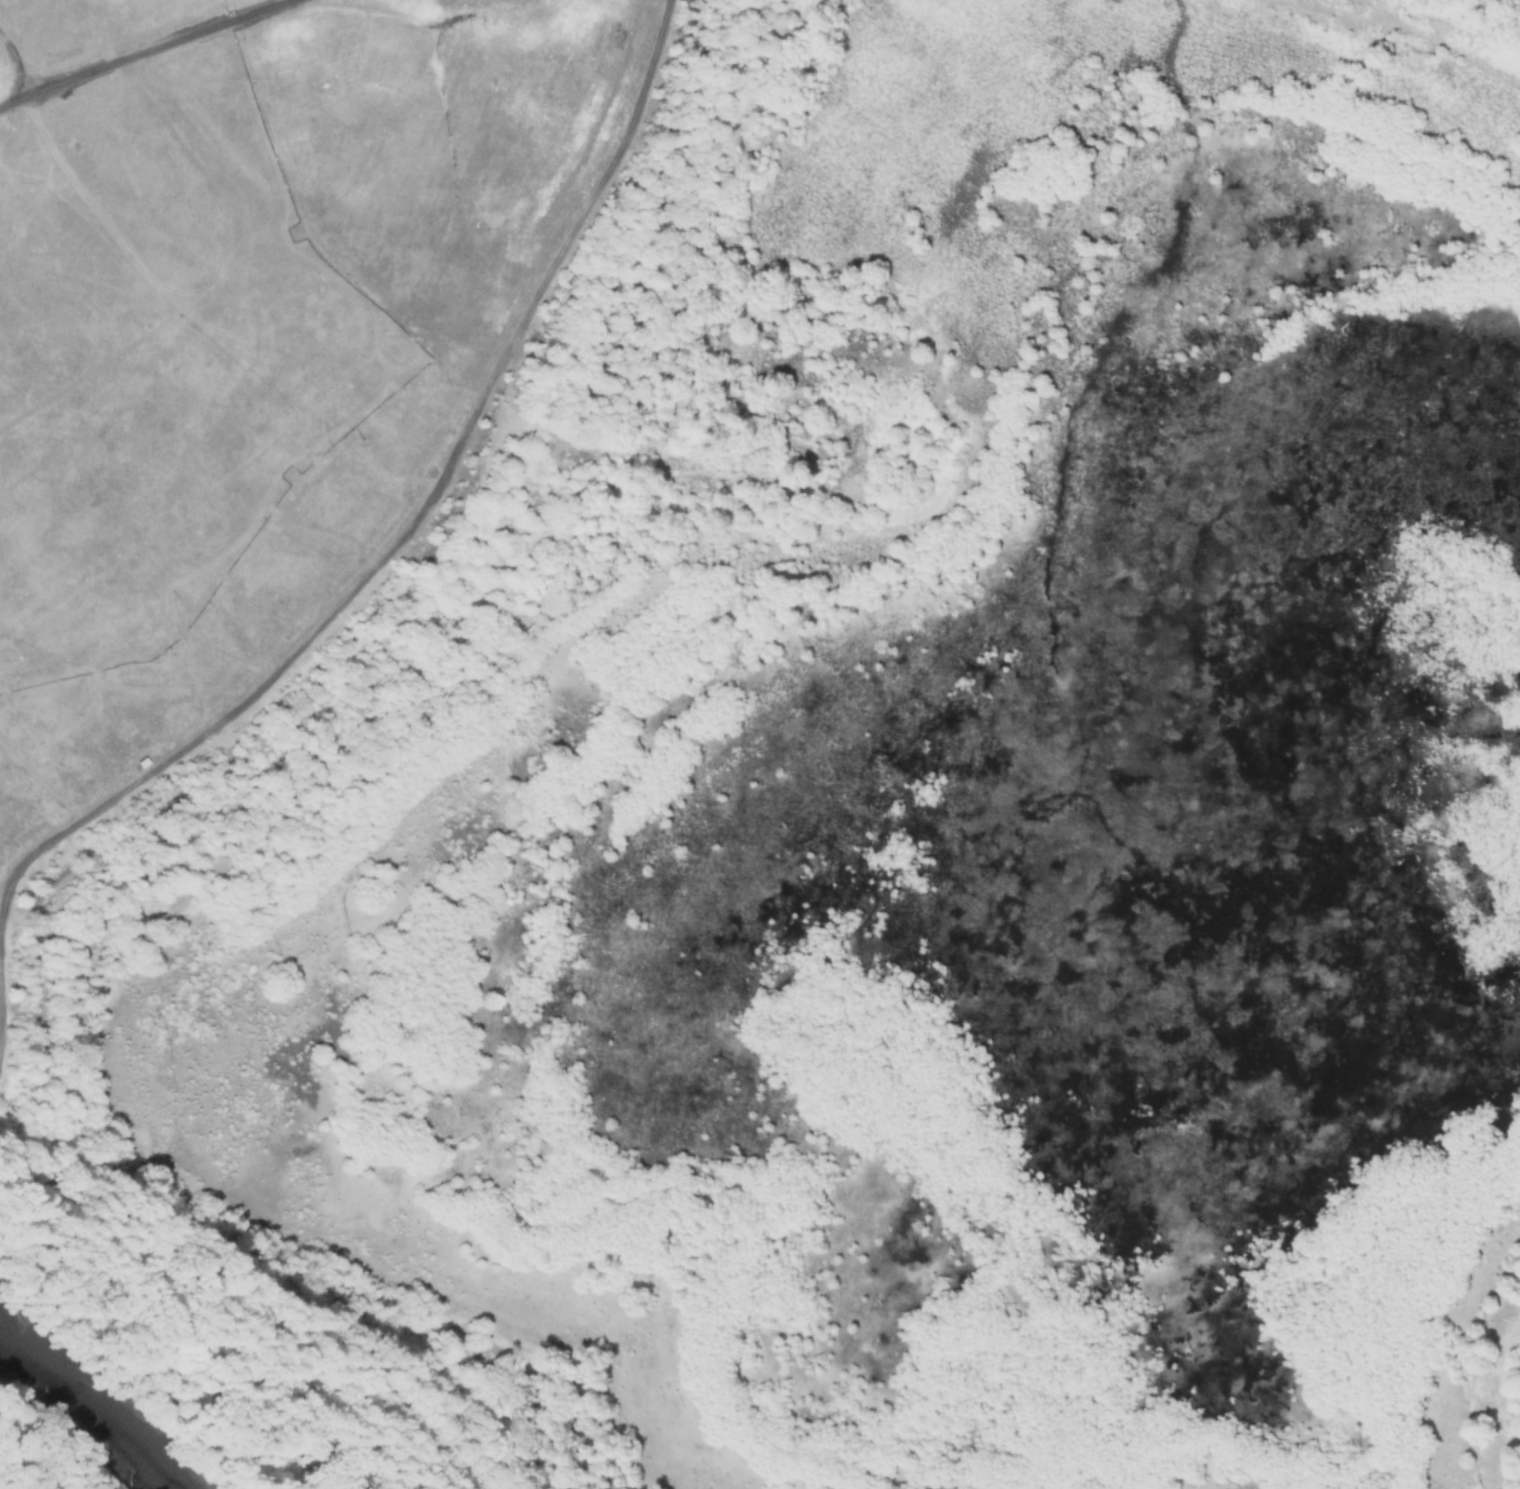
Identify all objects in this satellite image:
road: (1405, 26)
road: (141, 50)
road: (413, 520)

